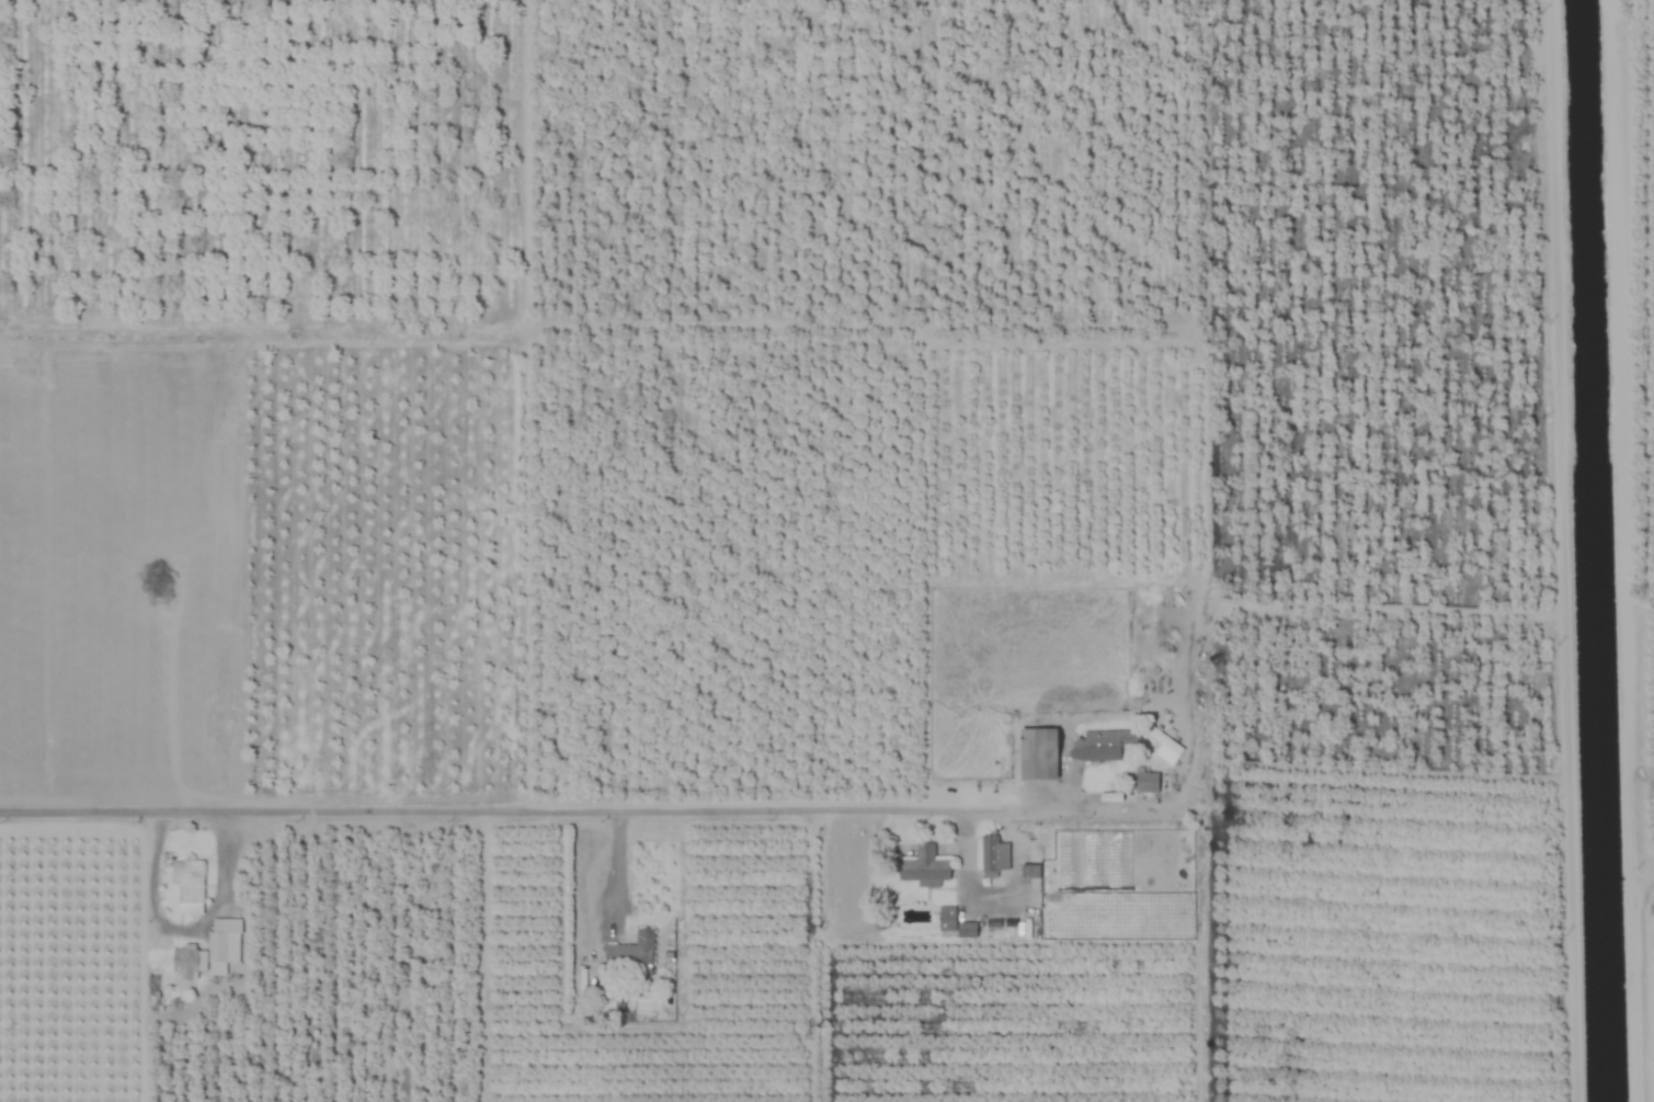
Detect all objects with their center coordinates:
building: (1103, 746)
building: (1164, 747)
building: (1040, 753)
building: (1147, 783)
road: (585, 810)
building: (989, 857)
road: (616, 862)
building: (923, 867)
building: (189, 886)
road: (184, 921)
building: (955, 923)
building: (210, 951)
building: (631, 955)

